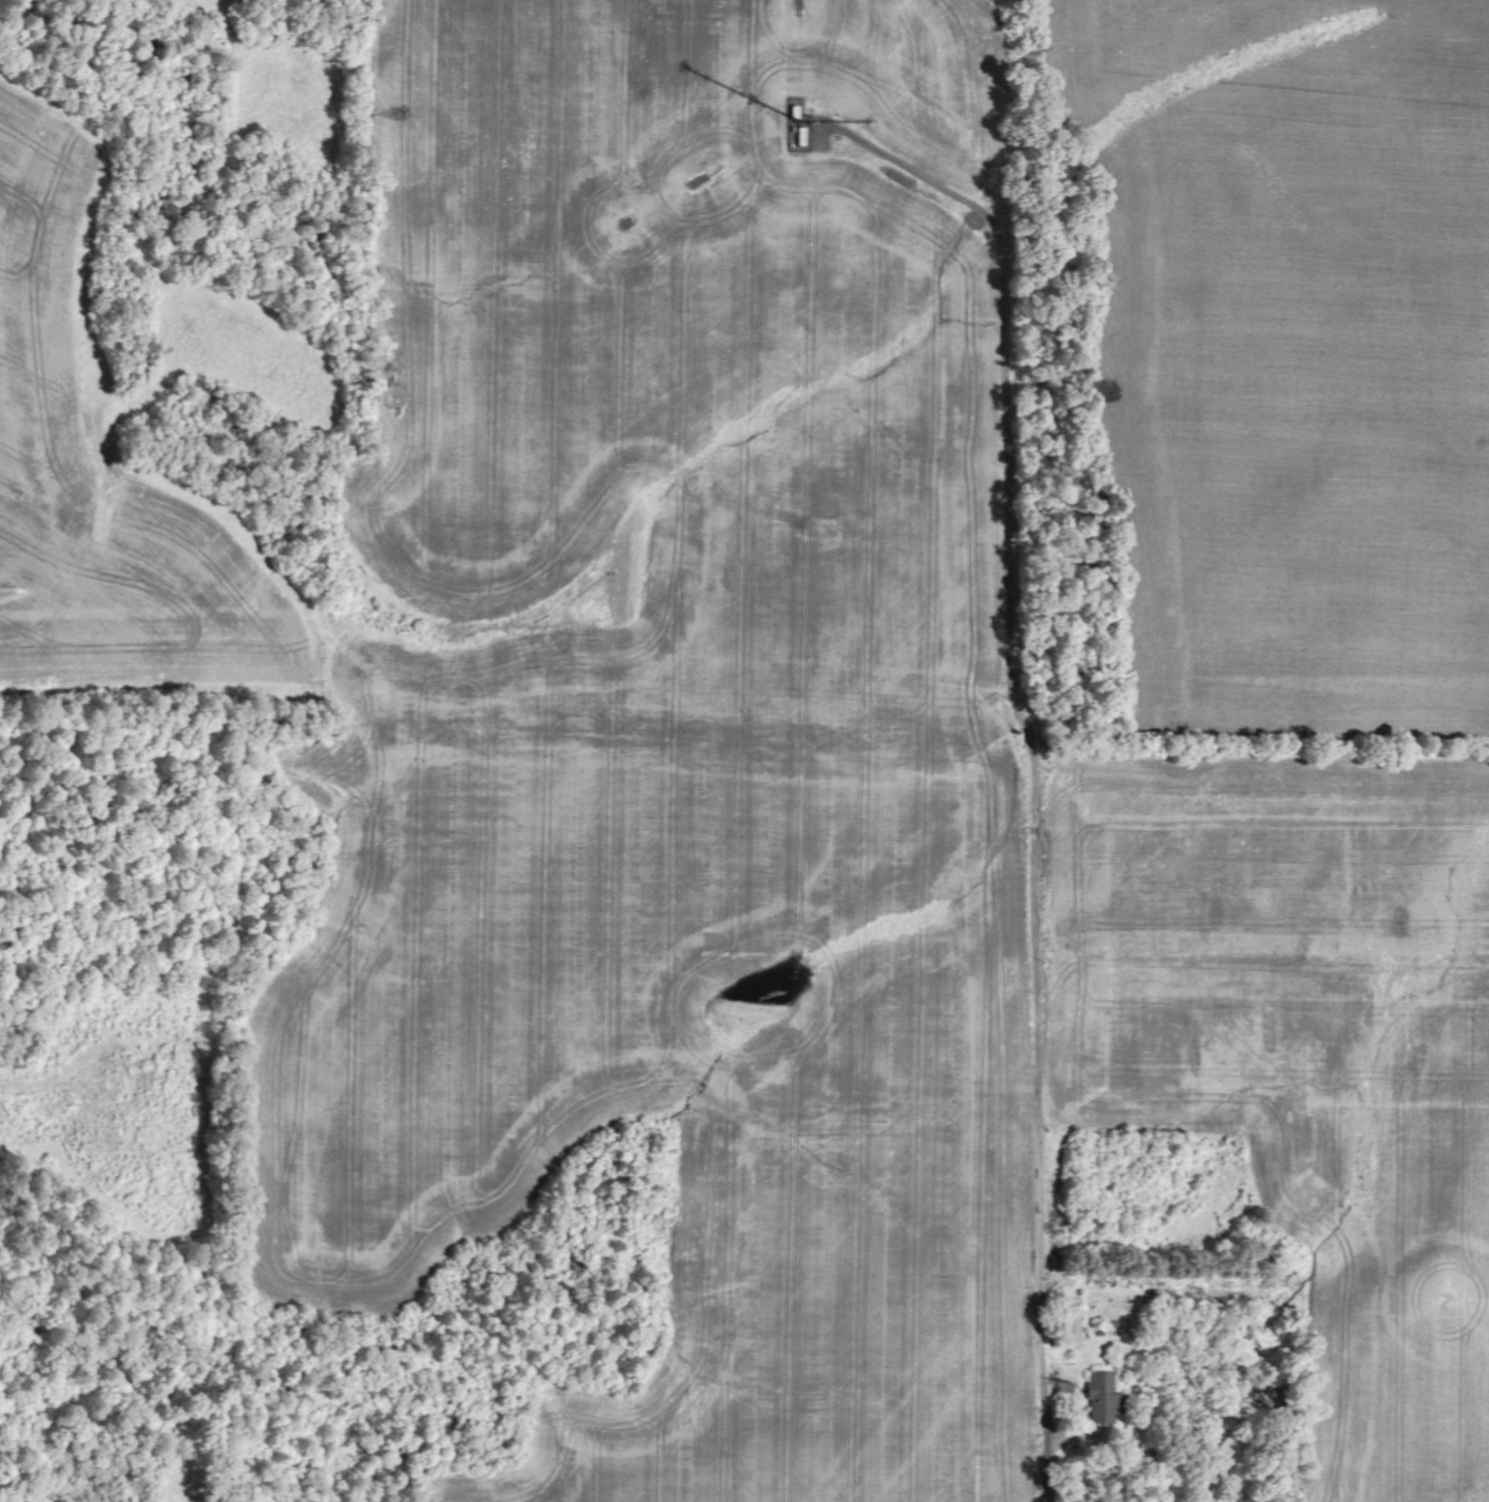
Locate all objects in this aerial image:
road: (1048, 1461)

